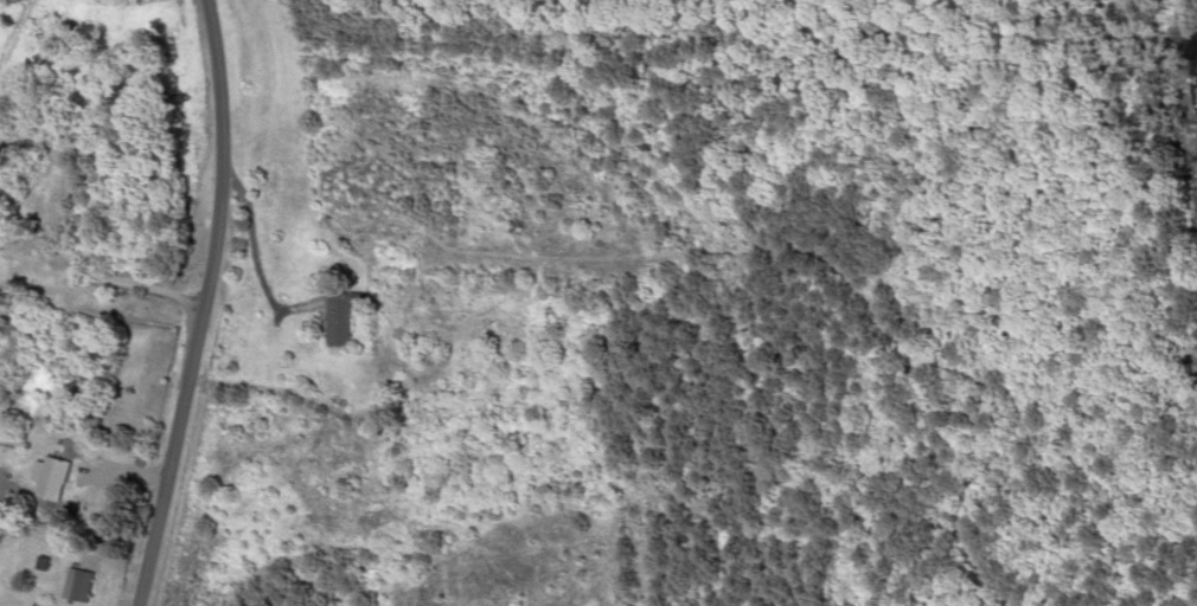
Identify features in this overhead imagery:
road: (91, 121)
road: (177, 303)
building: (353, 322)
building: (65, 477)
building: (91, 584)

